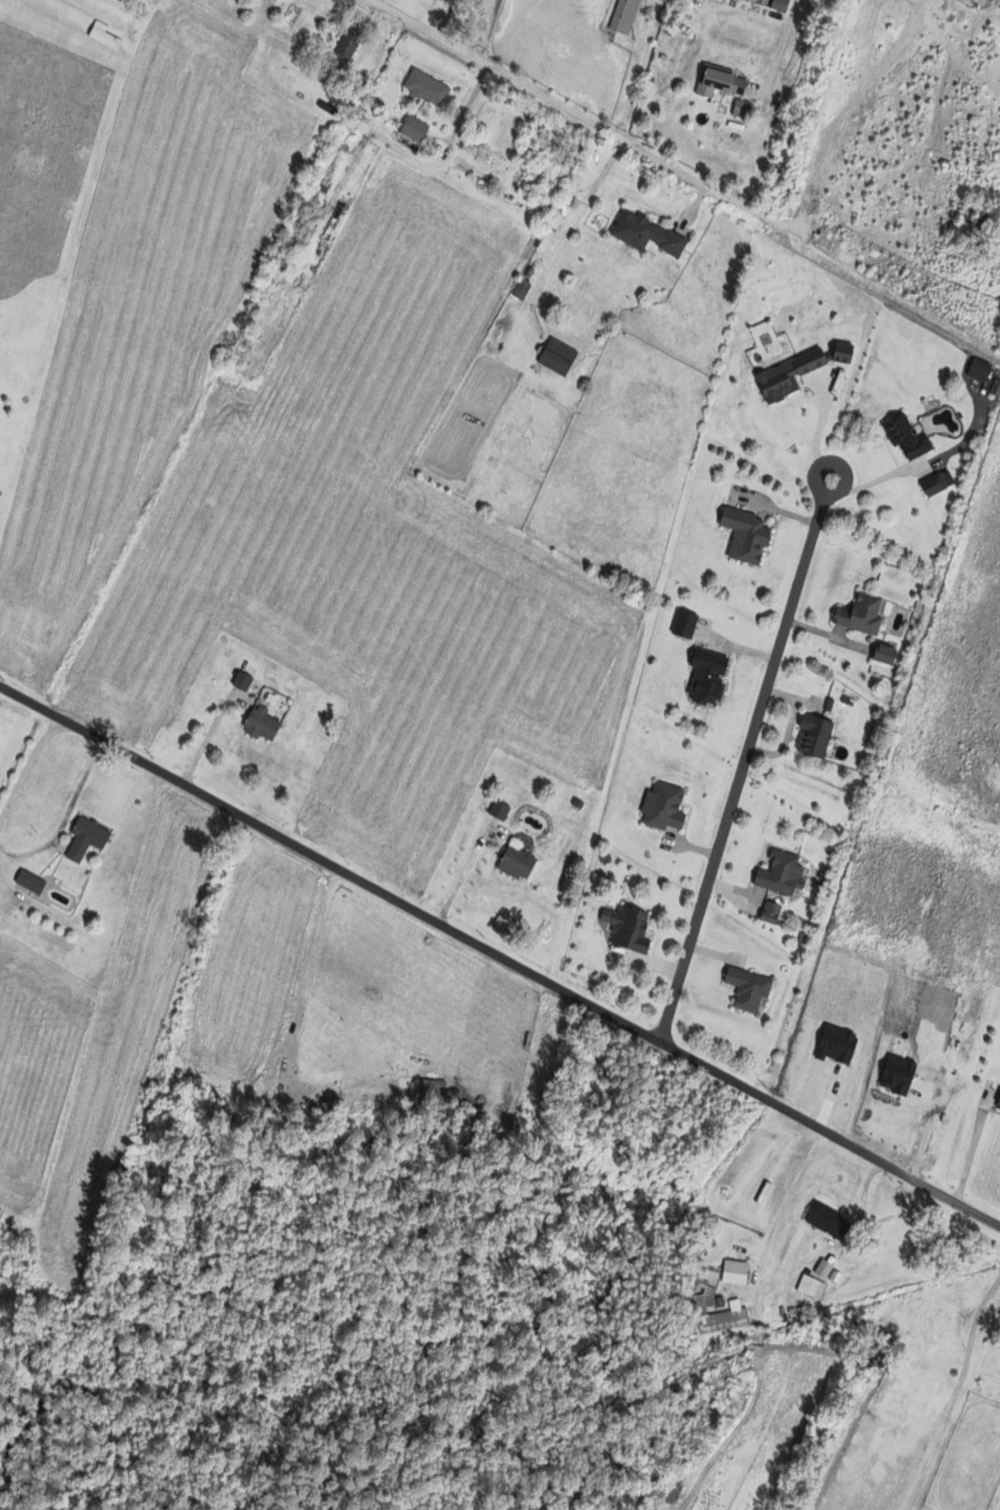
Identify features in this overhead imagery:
building: (629, 11)
road: (488, 29)
building: (104, 36)
building: (347, 45)
road: (780, 46)
building: (722, 83)
building: (428, 89)
road: (842, 107)
road: (577, 112)
building: (414, 129)
building: (647, 234)
building: (522, 289)
building: (845, 351)
building: (559, 356)
building: (789, 375)
road: (821, 419)
building: (907, 436)
building: (747, 534)
building: (862, 613)
road: (756, 717)
building: (262, 723)
building: (815, 735)
building: (665, 807)
building: (86, 838)
building: (517, 862)
building: (782, 874)
building: (31, 881)
building: (628, 927)
road: (498, 957)
building: (749, 988)
building: (999, 1106)
road: (971, 1151)
building: (829, 1220)
building: (824, 1267)
building: (811, 1286)
building: (726, 1317)
road: (947, 1387)

